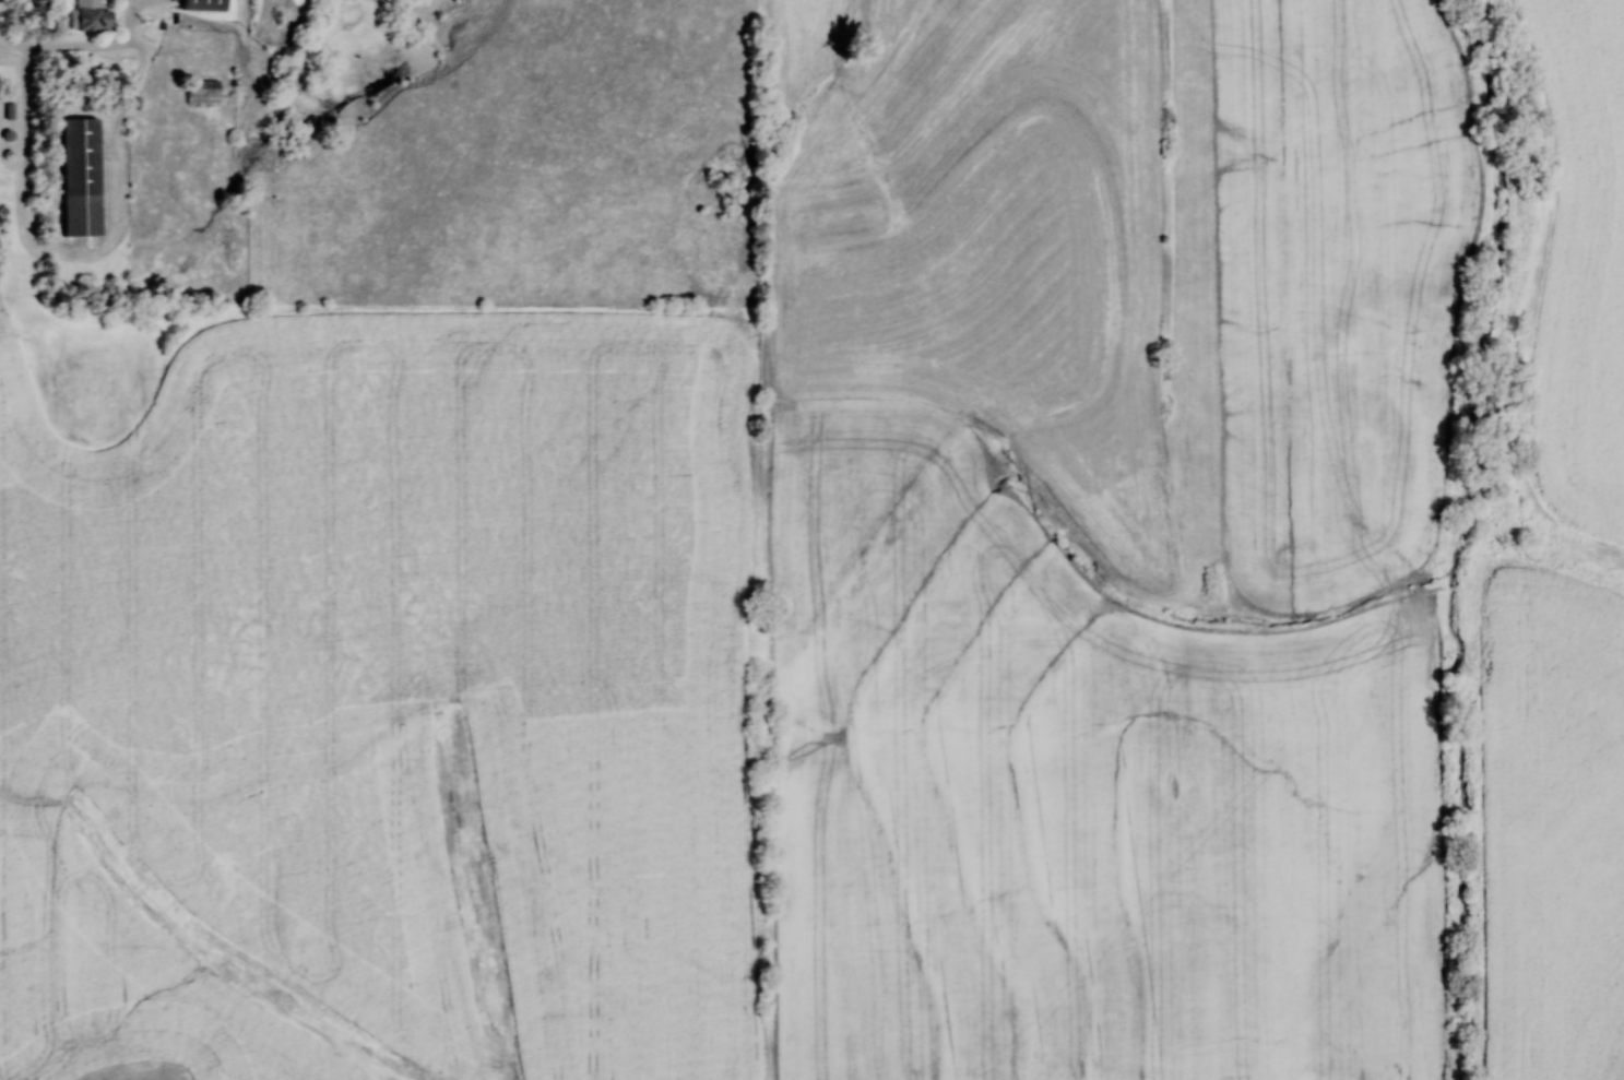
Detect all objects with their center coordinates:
building: (200, 4)
building: (90, 15)
building: (201, 91)
building: (78, 176)

